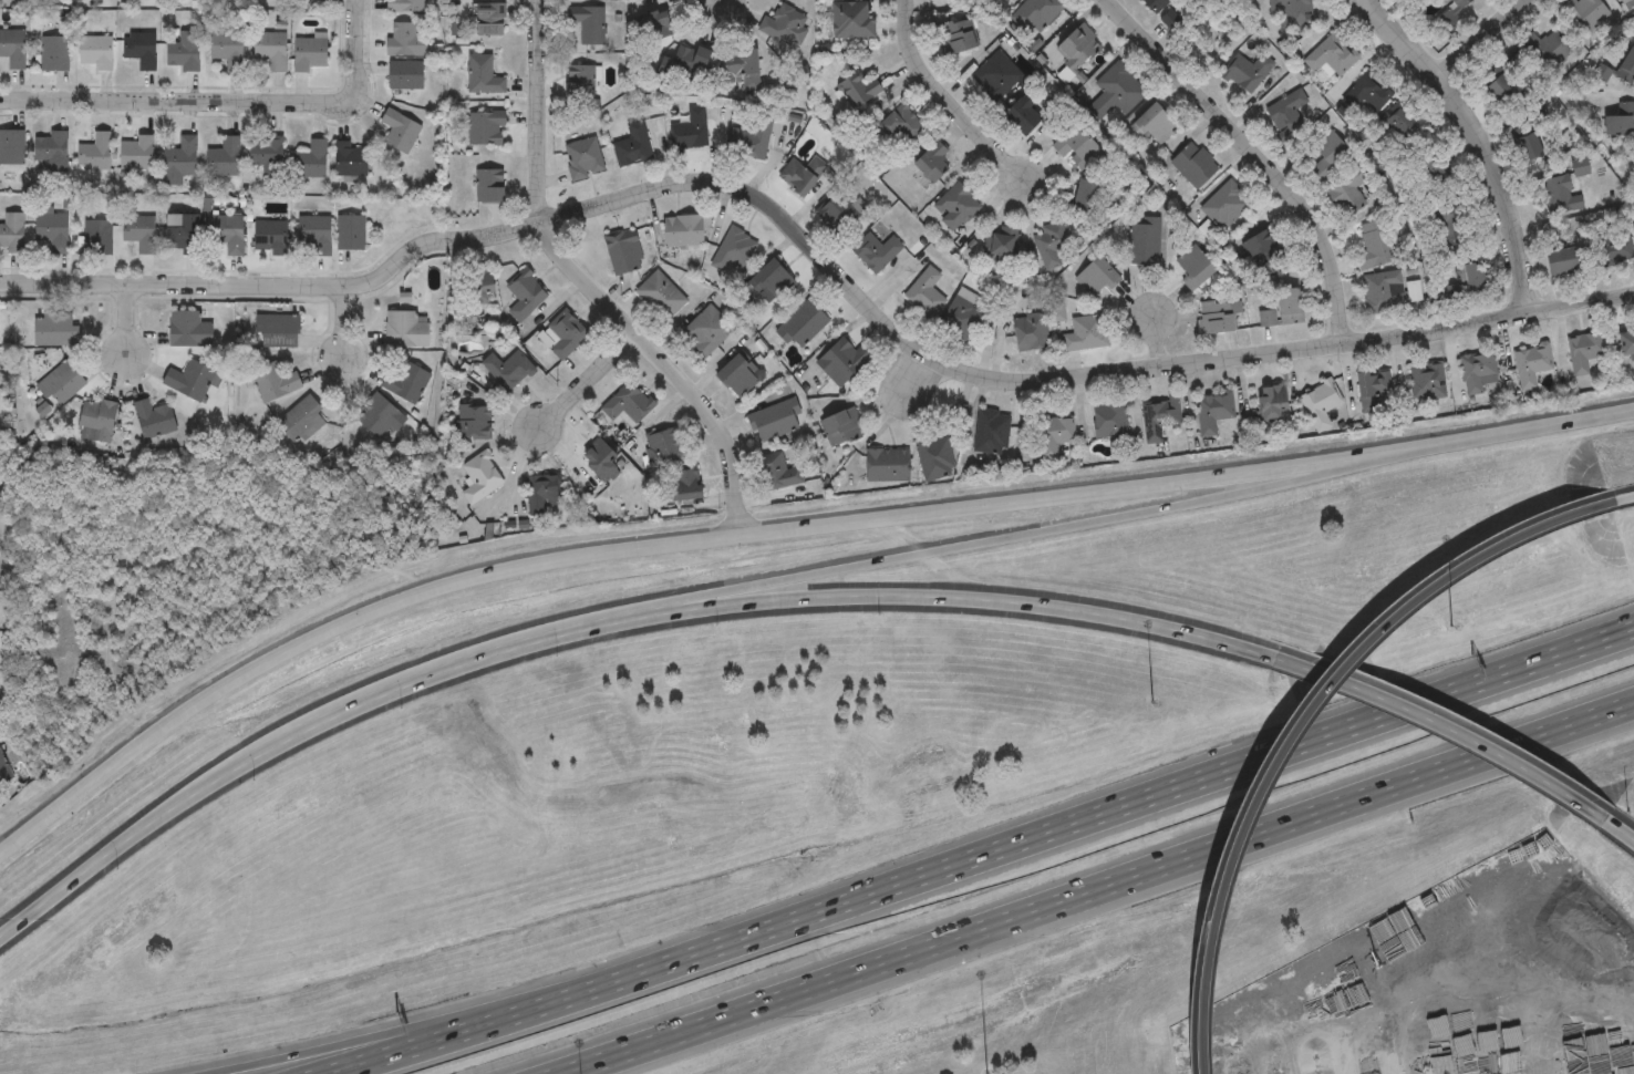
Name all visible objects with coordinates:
building: (1011, 0)
building: (1619, 1)
road: (723, 3)
building: (1157, 4)
building: (404, 6)
building: (1297, 10)
building: (1450, 12)
building: (1035, 13)
building: (1584, 13)
building: (492, 18)
building: (1169, 18)
building: (851, 19)
building: (588, 22)
building: (655, 23)
building: (782, 24)
building: (956, 34)
building: (402, 39)
road: (1480, 40)
building: (1078, 47)
building: (12, 48)
building: (227, 48)
building: (270, 48)
building: (141, 49)
building: (1544, 49)
building: (94, 51)
building: (183, 51)
building: (309, 52)
building: (52, 53)
building: (1332, 55)
building: (684, 64)
building: (741, 64)
building: (1617, 69)
building: (1248, 71)
building: (483, 74)
building: (996, 74)
building: (405, 75)
building: (580, 80)
building: (1498, 82)
building: (859, 89)
building: (1116, 89)
building: (1368, 92)
road: (949, 97)
road: (223, 102)
building: (1289, 112)
building: (1024, 115)
building: (1617, 121)
building: (1155, 122)
building: (902, 123)
building: (1403, 123)
building: (485, 126)
building: (690, 128)
building: (399, 130)
building: (751, 136)
building: (1530, 136)
building: (1075, 143)
road: (1481, 143)
building: (632, 144)
building: (11, 146)
building: (51, 149)
building: (94, 152)
road: (1255, 152)
building: (136, 153)
building: (1331, 153)
building: (266, 155)
building: (224, 157)
building: (582, 157)
building: (179, 159)
building: (311, 159)
building: (932, 161)
building: (351, 162)
building: (1196, 164)
building: (1434, 168)
building: (1581, 168)
building: (802, 174)
road: (539, 184)
building: (489, 185)
building: (1348, 189)
building: (1561, 194)
building: (1087, 199)
building: (1227, 204)
building: (955, 205)
building: (838, 209)
building: (1447, 217)
building: (51, 229)
building: (683, 229)
building: (139, 231)
building: (349, 231)
building: (11, 233)
building: (227, 233)
building: (182, 234)
building: (314, 234)
building: (96, 237)
building: (270, 238)
building: (1002, 241)
building: (1144, 241)
building: (1053, 242)
building: (1375, 245)
building: (1264, 248)
building: (622, 250)
building: (733, 251)
building: (875, 251)
building: (1615, 252)
road: (817, 256)
building: (1565, 259)
building: (1196, 266)
building: (1098, 276)
building: (1478, 277)
building: (774, 278)
building: (479, 283)
building: (1379, 289)
building: (923, 290)
building: (1414, 290)
building: (525, 293)
building: (660, 296)
building: (1291, 303)
building: (1218, 316)
road: (342, 317)
building: (961, 317)
building: (1268, 317)
road: (128, 320)
building: (803, 323)
building: (56, 329)
building: (188, 329)
building: (405, 329)
building: (706, 329)
building: (279, 331)
building: (1030, 331)
building: (1086, 332)
building: (565, 333)
road: (1157, 339)
building: (1624, 340)
building: (1581, 351)
building: (841, 360)
building: (1532, 363)
building: (508, 369)
building: (1479, 371)
building: (738, 373)
road: (917, 376)
road: (585, 379)
building: (1428, 380)
building: (190, 381)
building: (273, 381)
building: (405, 382)
building: (61, 383)
building: (1376, 391)
building: (1274, 401)
building: (1321, 403)
building: (625, 404)
building: (1213, 410)
building: (379, 414)
building: (1158, 416)
building: (96, 419)
building: (153, 419)
building: (300, 420)
building: (474, 420)
building: (773, 420)
building: (1110, 420)
road: (712, 421)
building: (841, 426)
building: (991, 431)
building: (1055, 434)
building: (662, 446)
building: (934, 456)
building: (600, 461)
building: (887, 464)
building: (777, 472)
building: (479, 476)
building: (682, 486)
building: (541, 492)
road: (1615, 500)
road: (1096, 520)
road: (780, 527)
road: (589, 626)
road: (1300, 721)
road: (1434, 723)
building: (4, 773)
road: (1621, 826)
road: (1043, 834)
road: (1097, 889)
road: (1594, 951)
road: (328, 1049)
road: (389, 1055)

